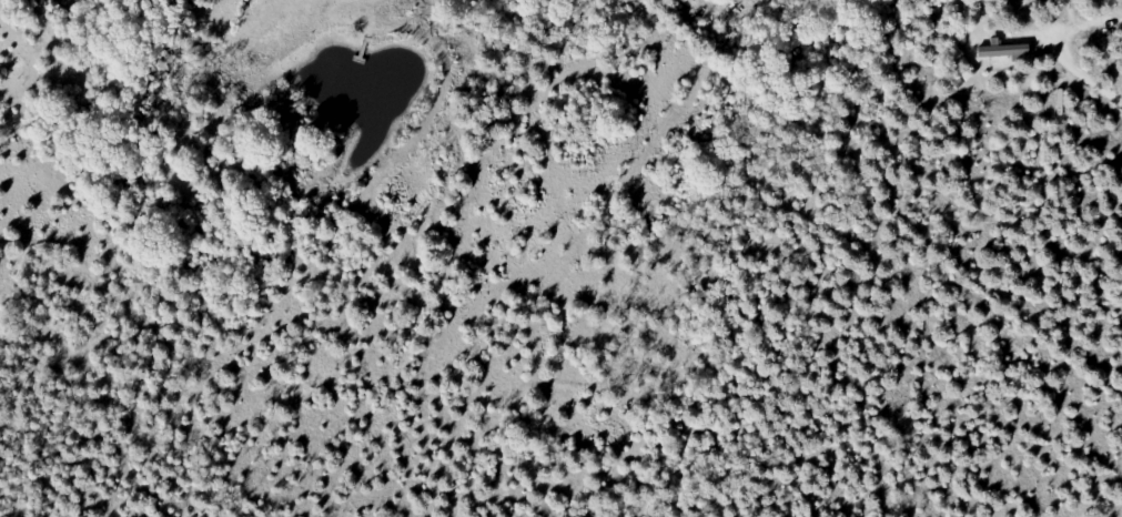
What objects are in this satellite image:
building: (1007, 52)
road: (1082, 77)

